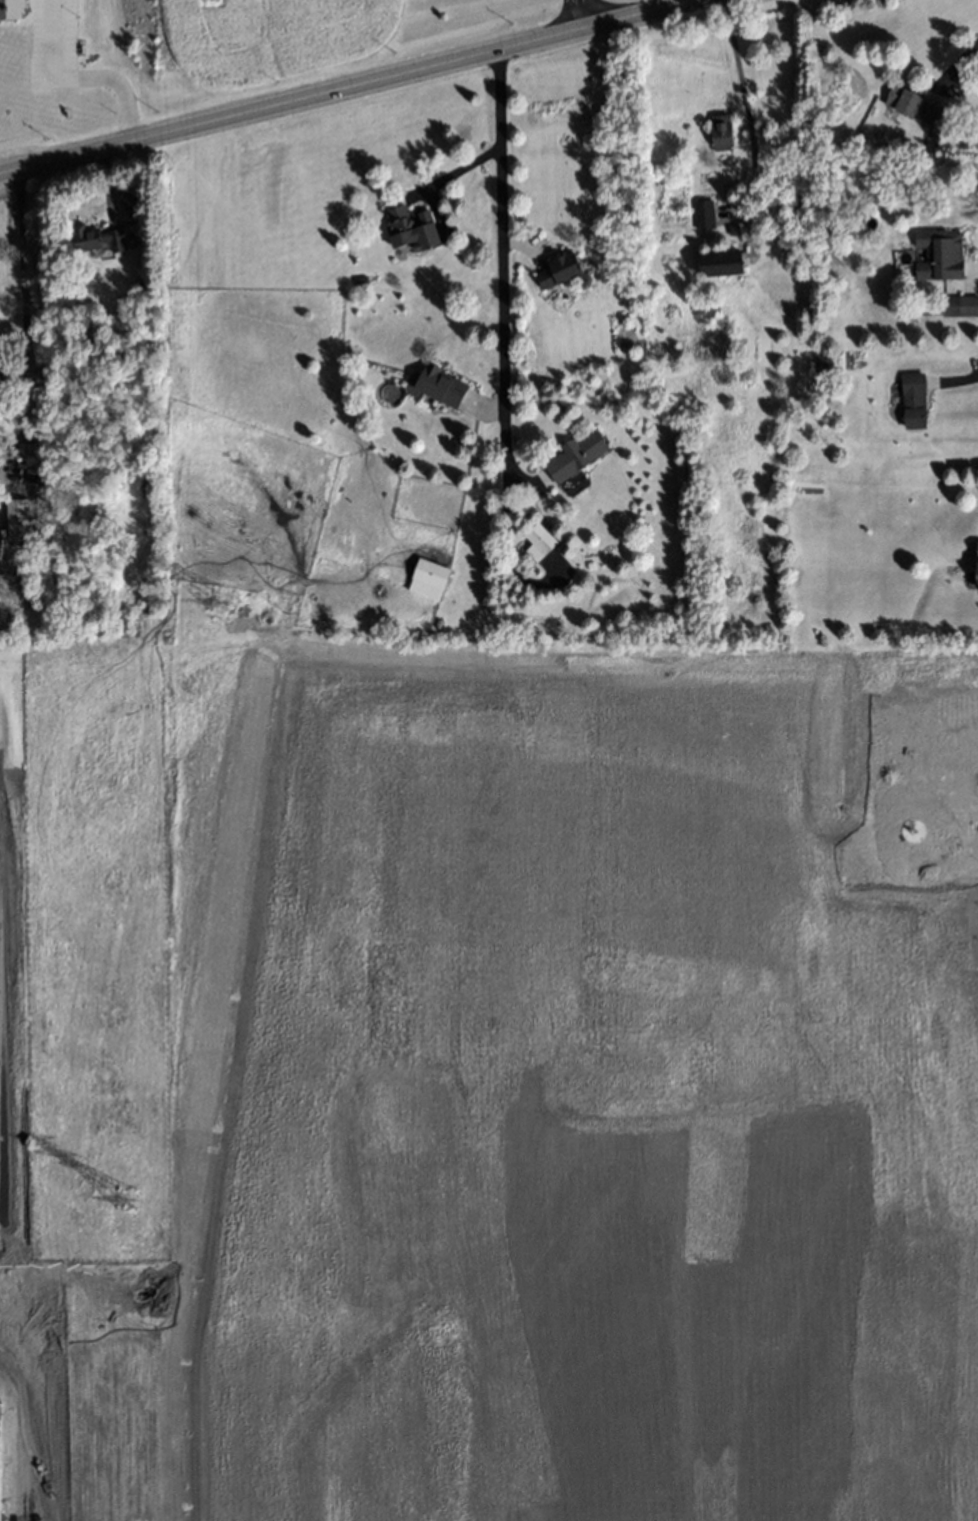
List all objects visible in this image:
building: (9, 9)
road: (578, 10)
road: (955, 64)
road: (77, 77)
road: (336, 81)
building: (909, 97)
road: (743, 106)
building: (719, 133)
road: (442, 176)
building: (703, 214)
building: (409, 225)
building: (732, 228)
building: (91, 238)
building: (935, 253)
building: (555, 262)
building: (718, 273)
road: (499, 303)
building: (956, 304)
road: (23, 317)
building: (1, 379)
building: (438, 379)
road: (960, 380)
building: (913, 400)
building: (26, 451)
building: (572, 451)
building: (17, 518)
building: (536, 539)
building: (974, 558)
building: (425, 578)
power tower: (222, 603)
crop: (85, 1084)
power tower: (127, 1199)

